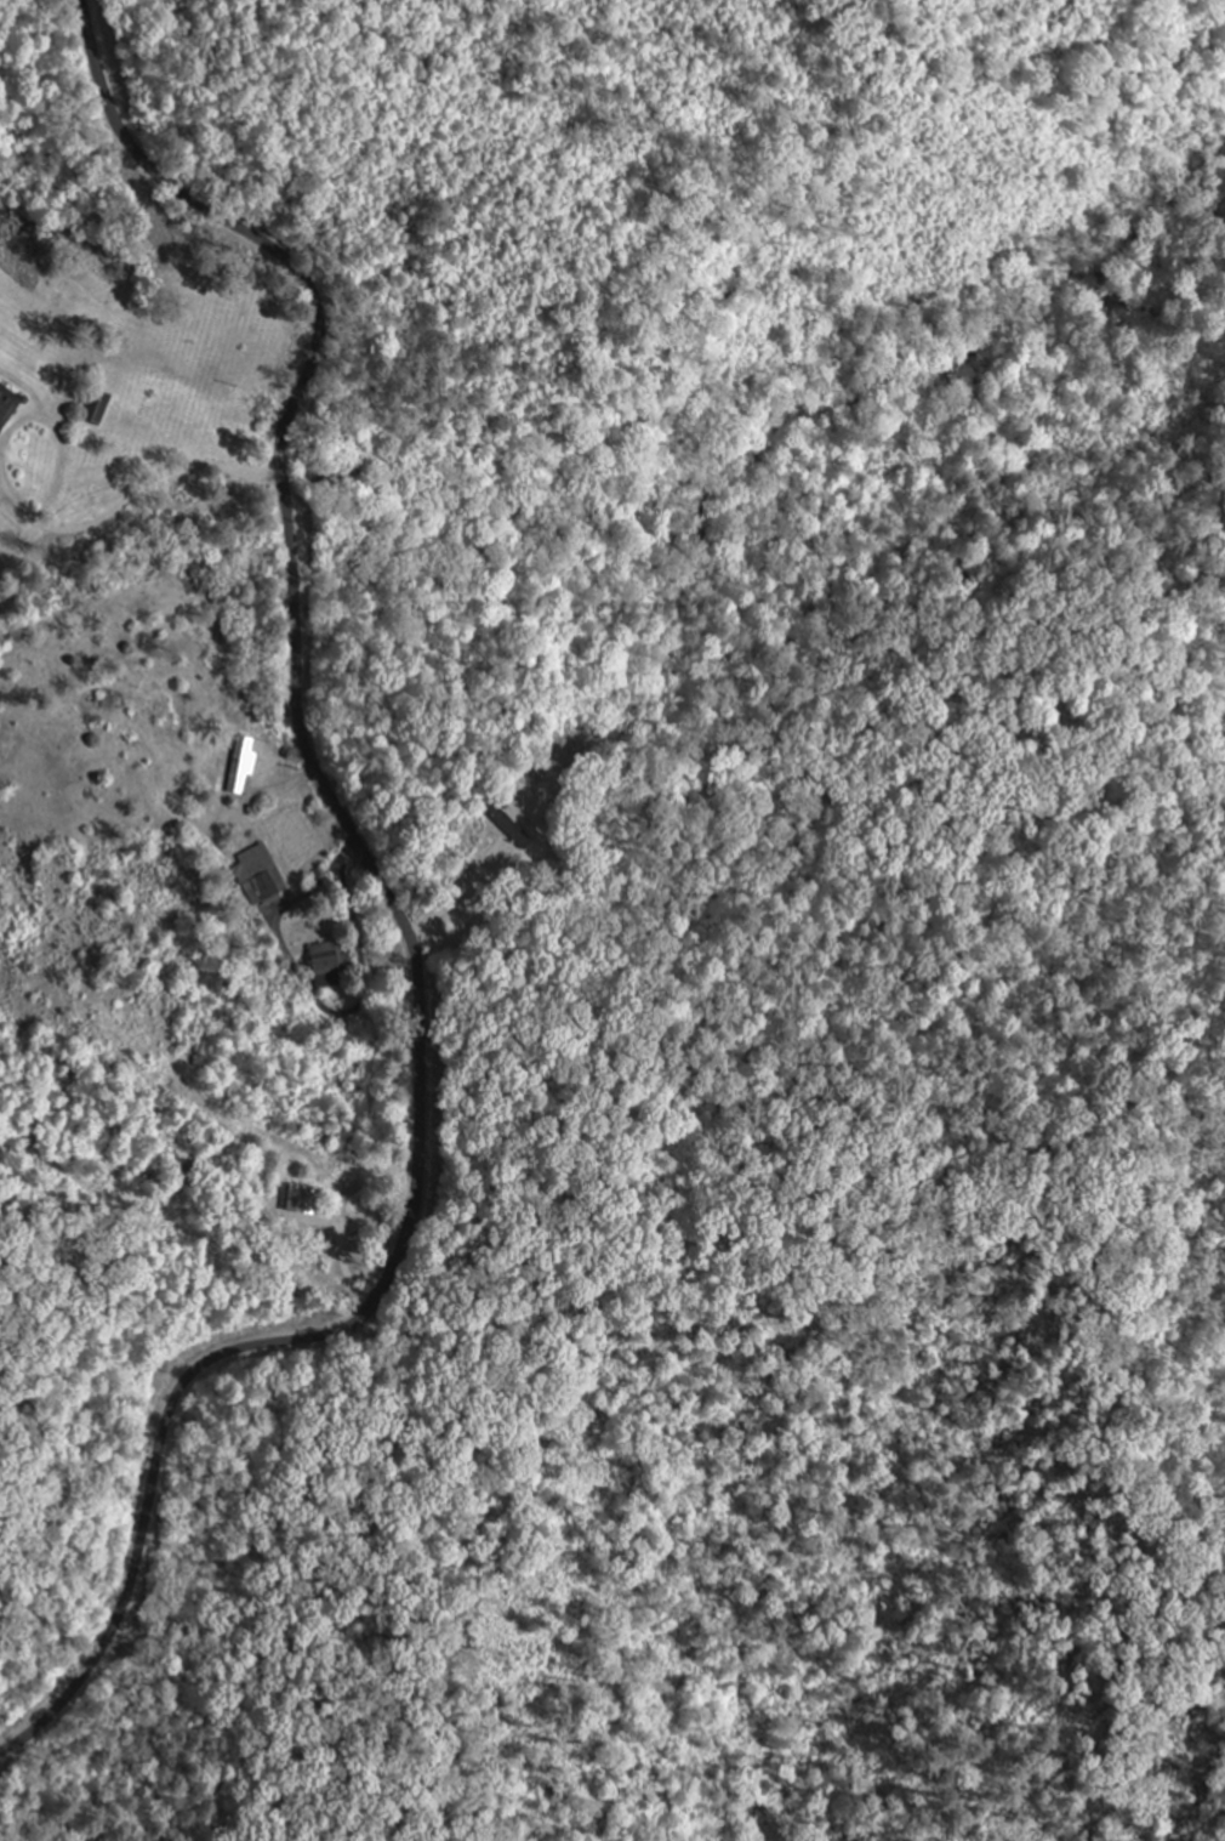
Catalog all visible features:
building: (6, 399)
building: (99, 408)
road: (398, 910)
building: (327, 962)
building: (301, 1201)
road: (817, 1229)

